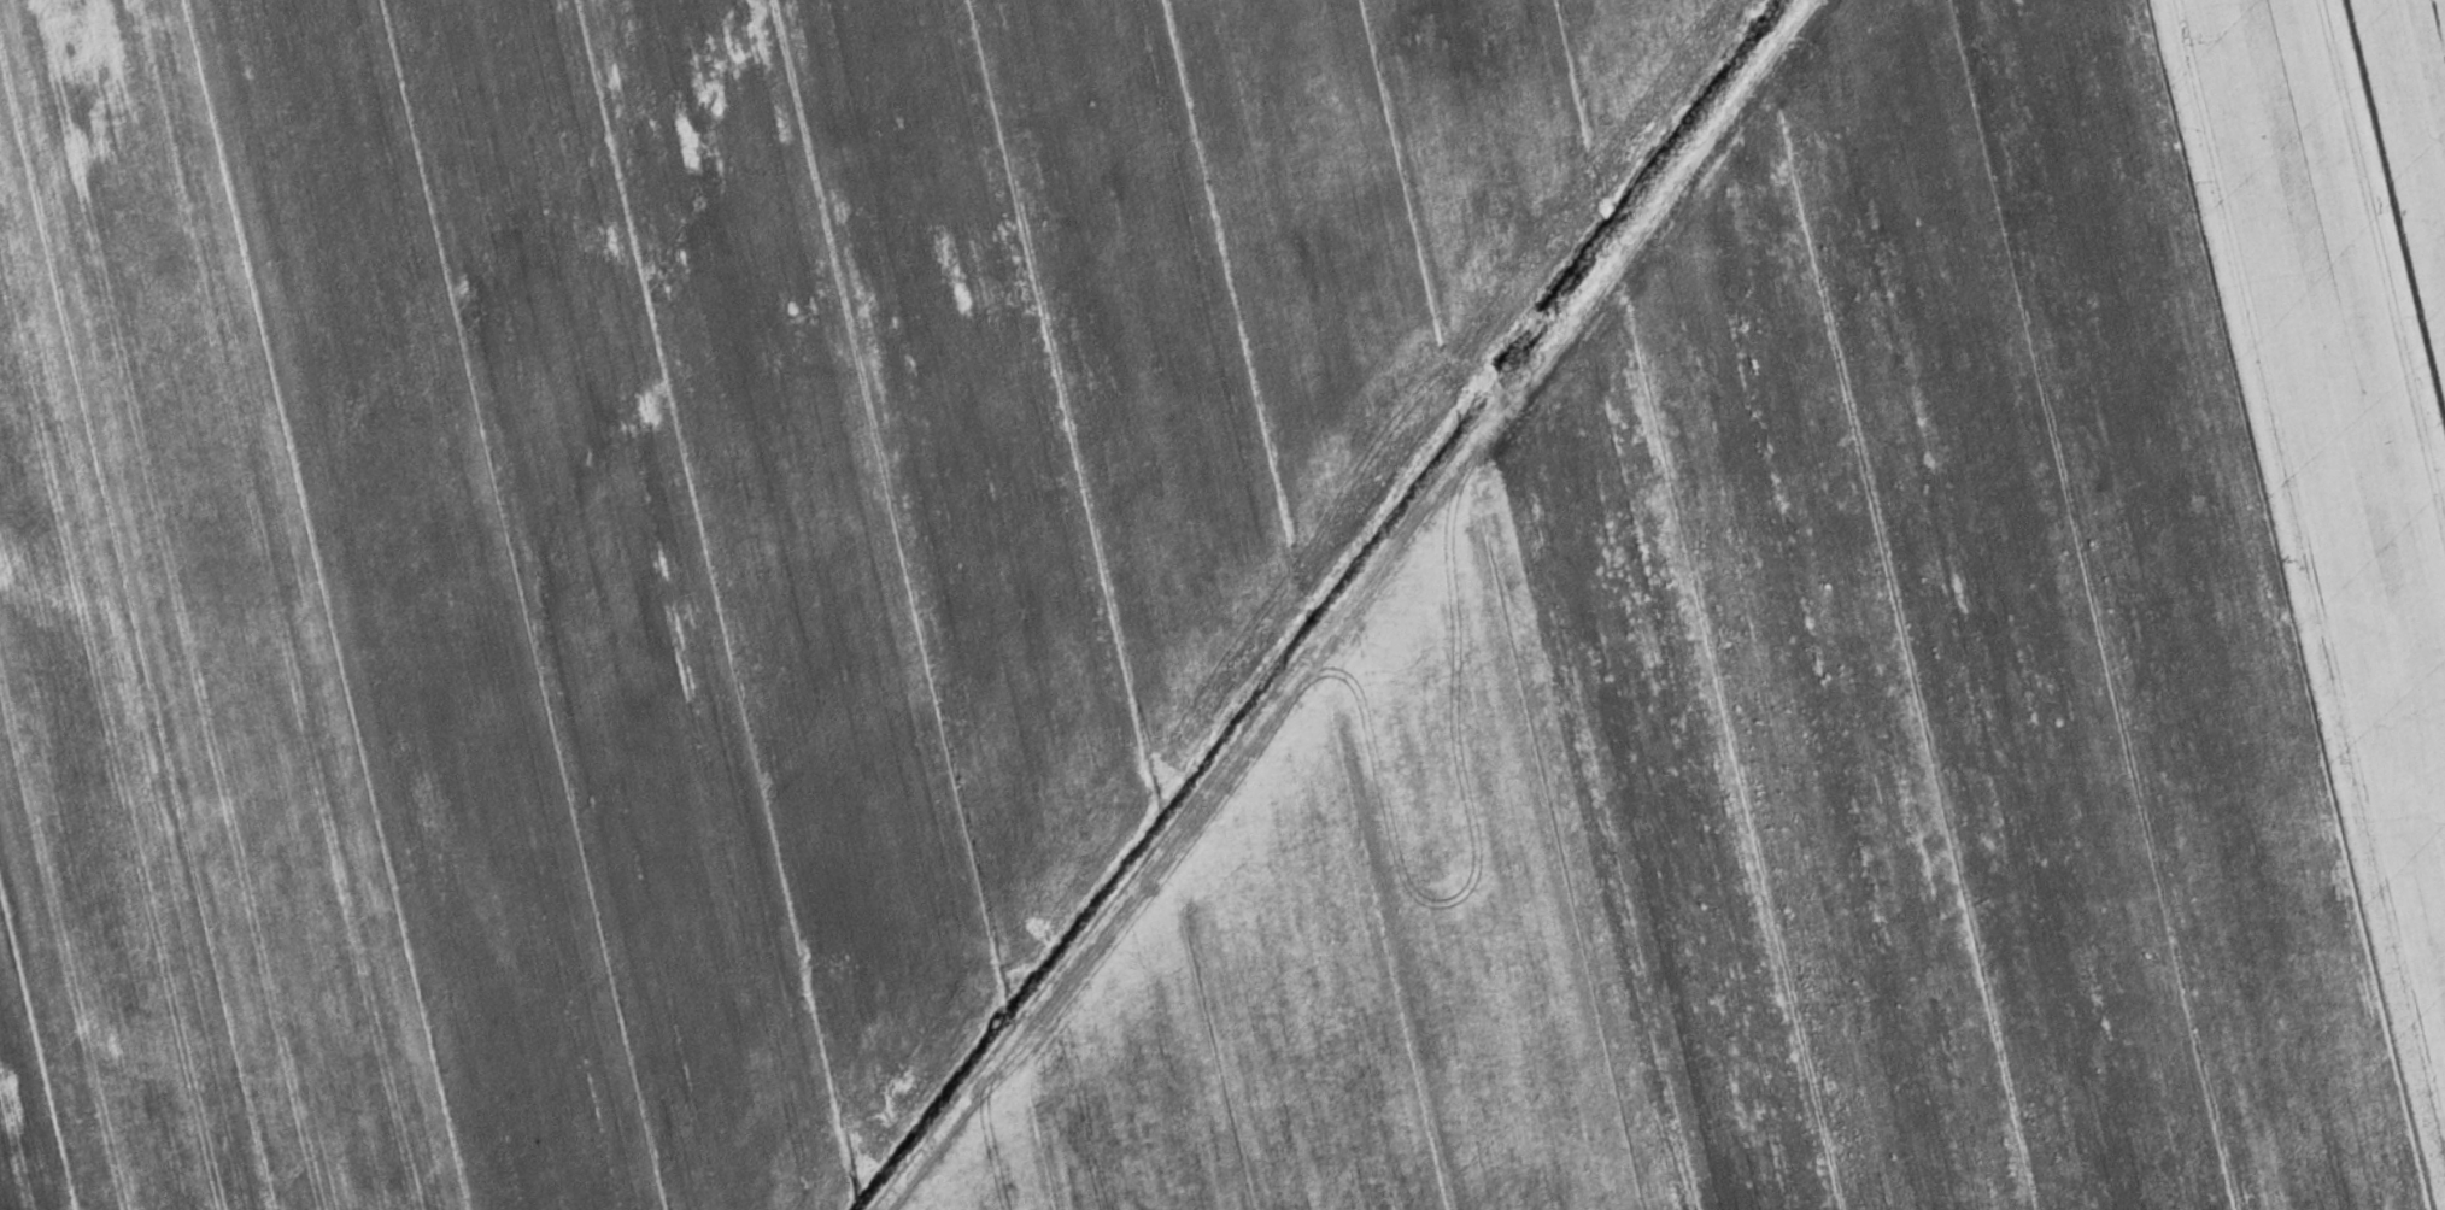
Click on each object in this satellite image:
crop: (679, 534)
road: (1343, 604)
crop: (1864, 689)

